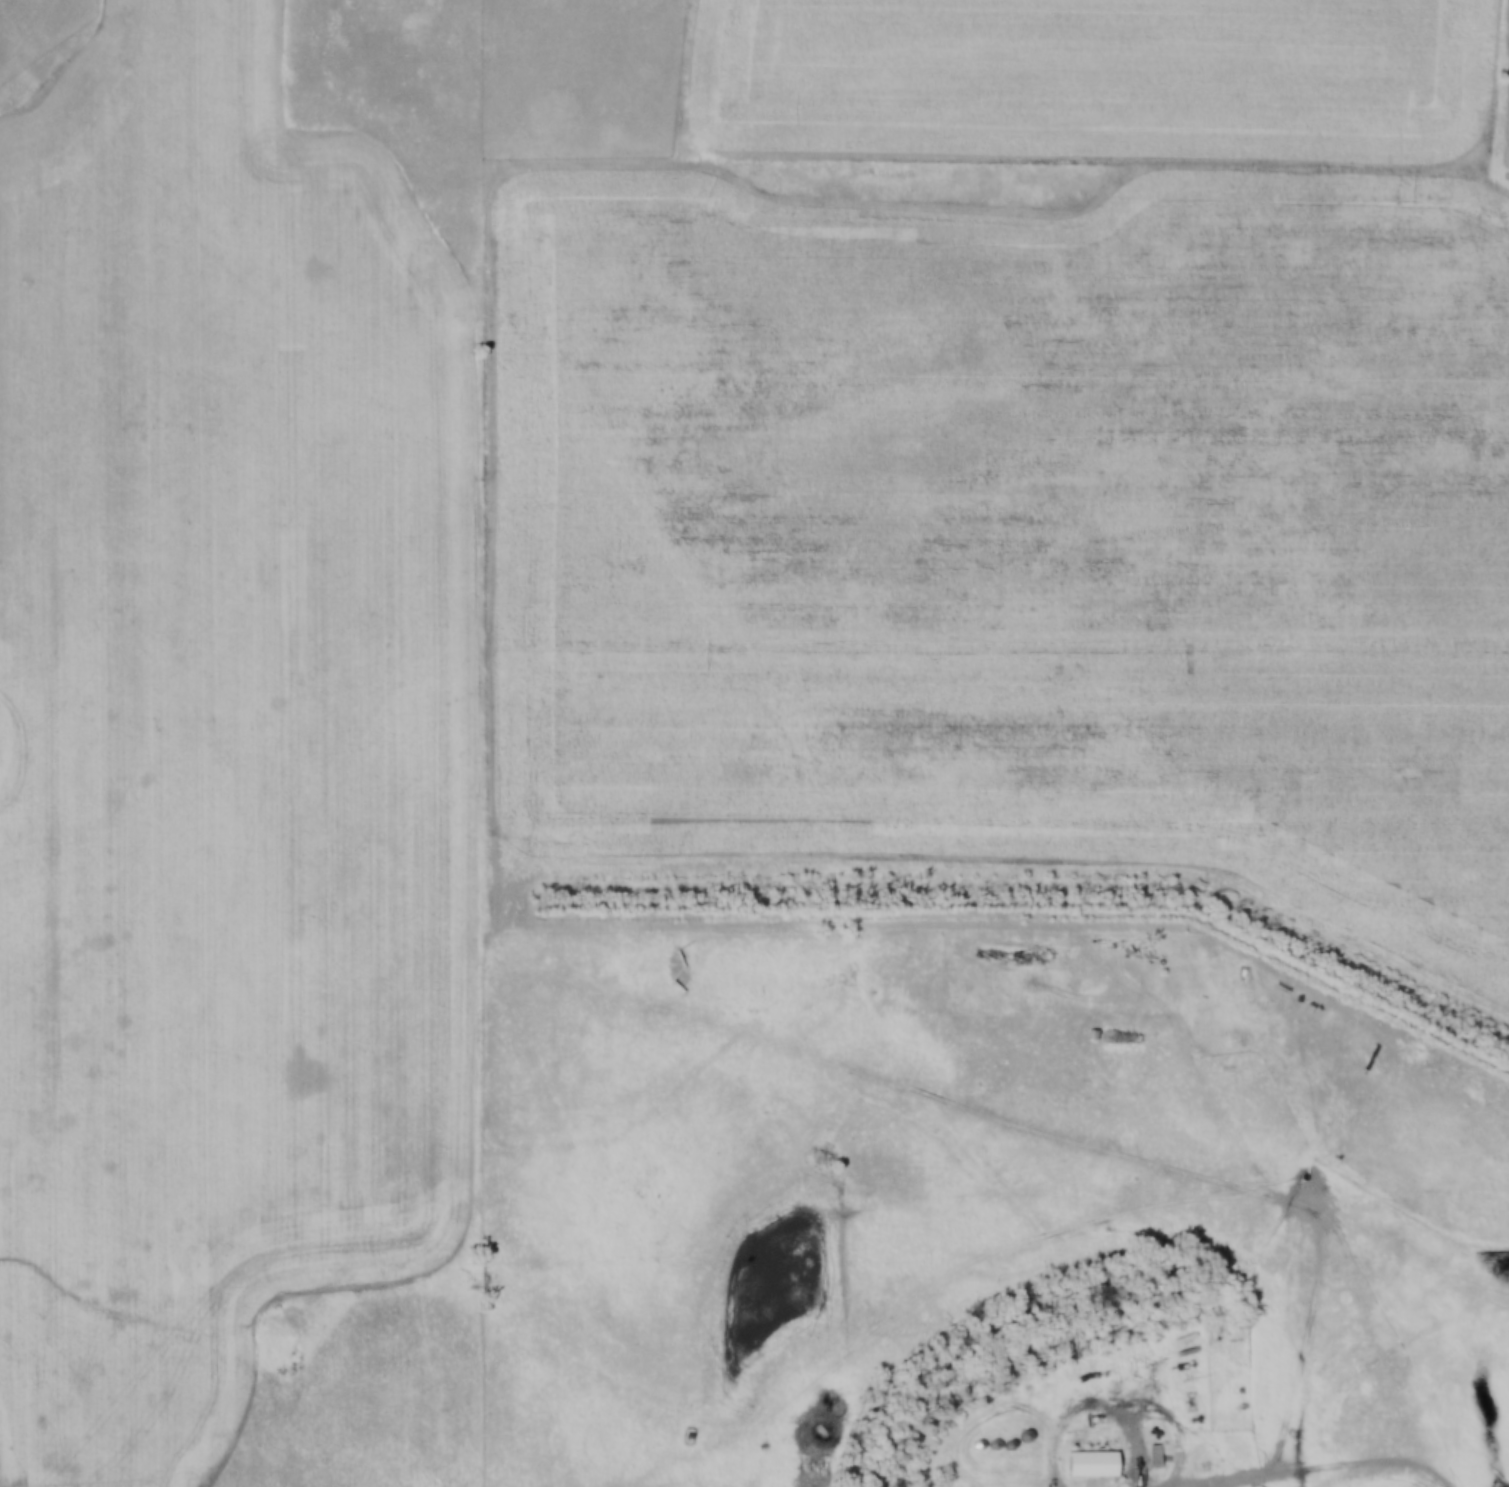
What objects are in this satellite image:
building: (1155, 1456)
building: (1092, 1464)

